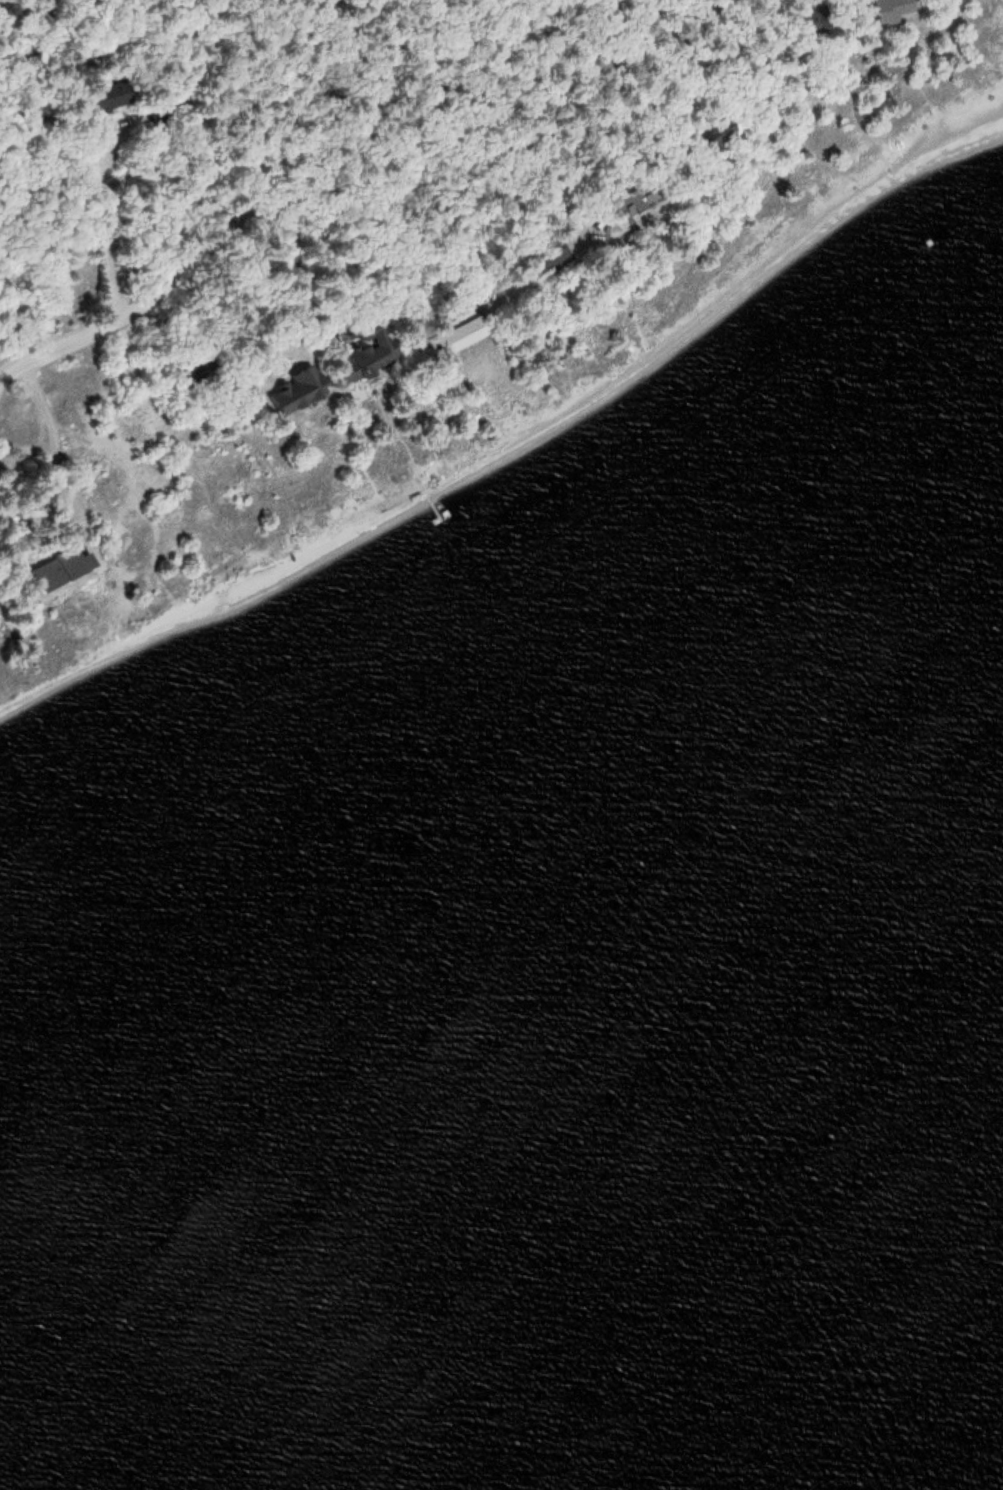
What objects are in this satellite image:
building: (892, 9)
building: (809, 21)
building: (110, 95)
building: (158, 112)
building: (723, 131)
road: (354, 185)
building: (644, 197)
building: (460, 332)
building: (367, 344)
building: (298, 390)

